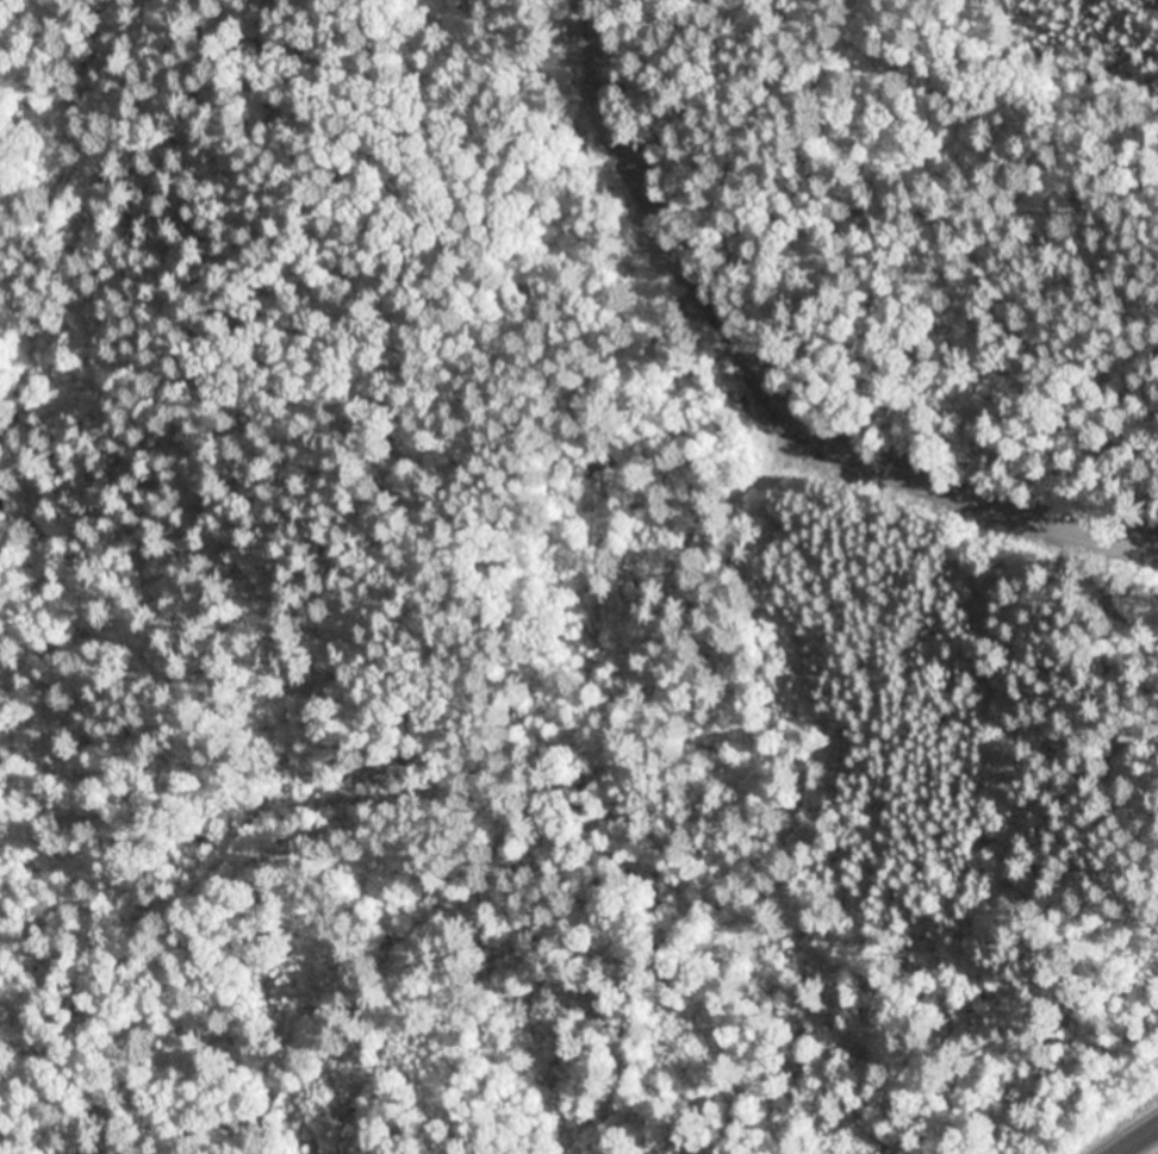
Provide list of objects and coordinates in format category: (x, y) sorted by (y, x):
road: (764, 389)
road: (1134, 1137)

